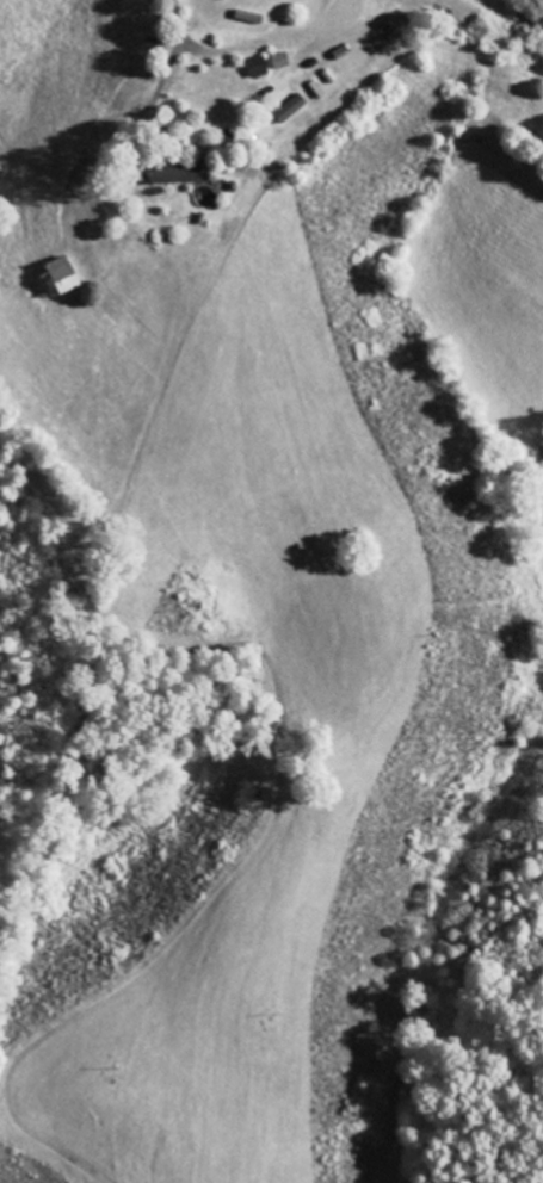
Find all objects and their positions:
building: (284, 60)
building: (263, 66)
building: (296, 107)
building: (184, 172)
building: (62, 277)

